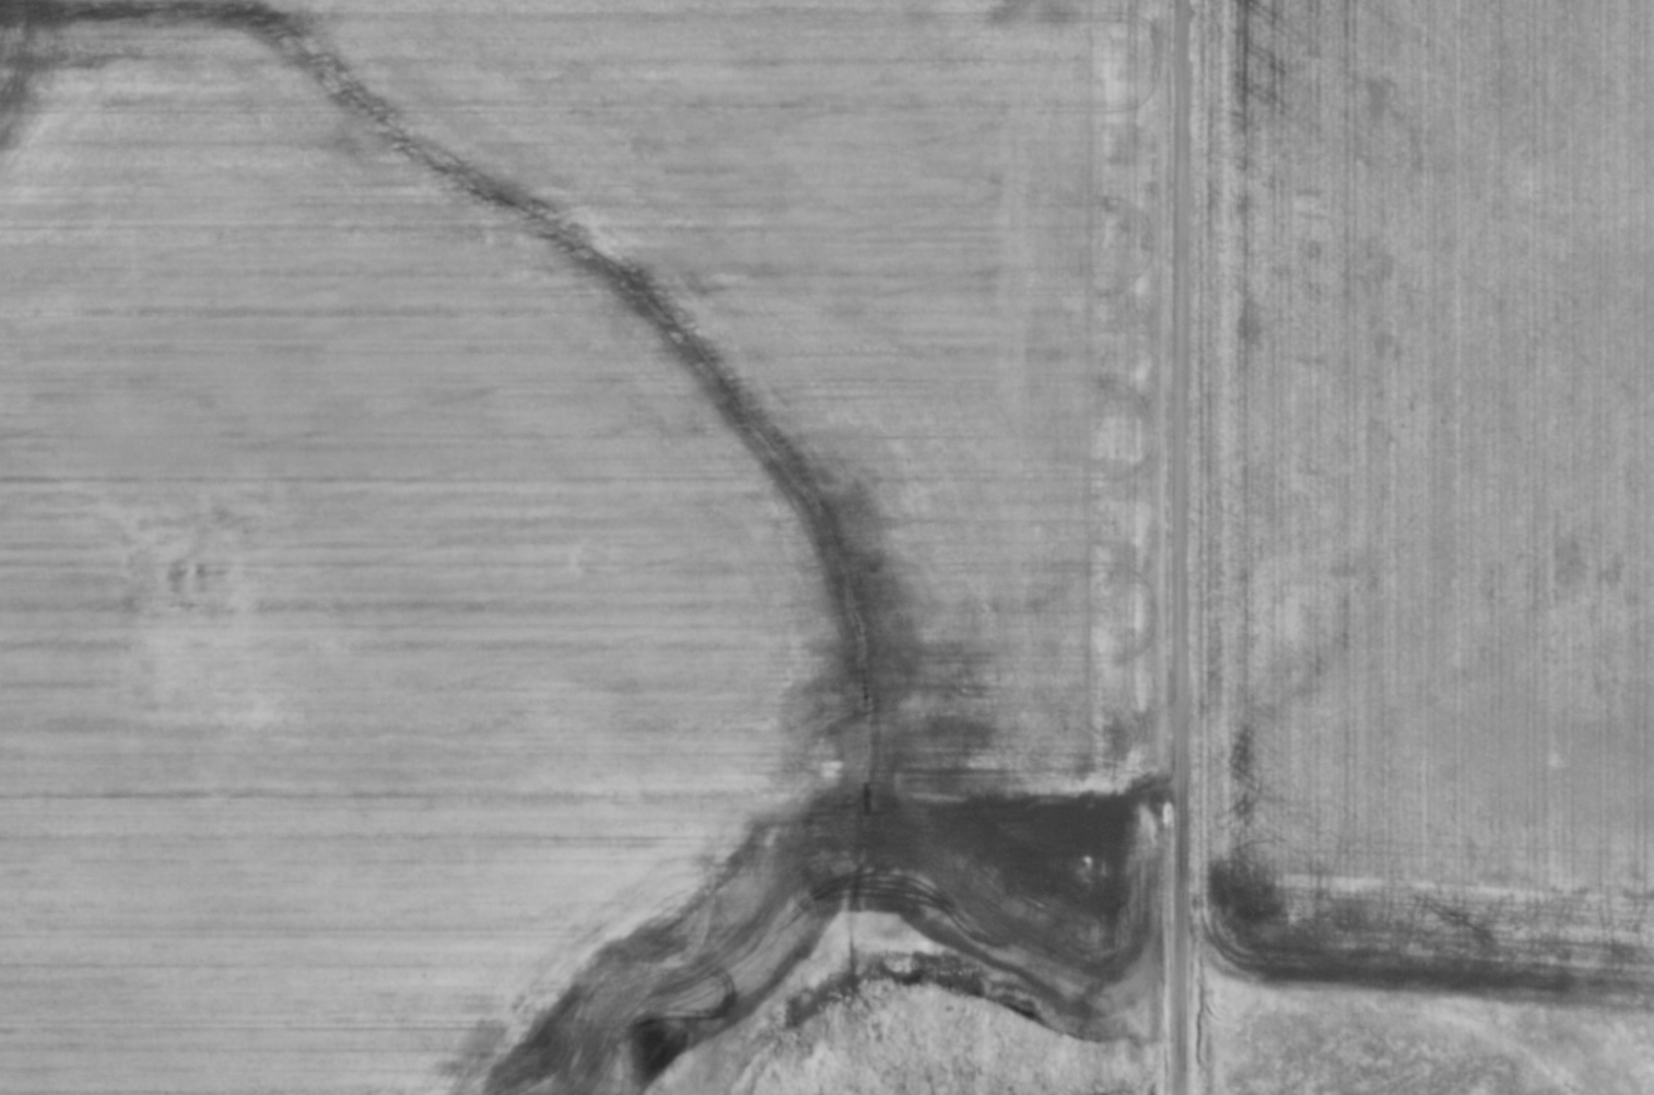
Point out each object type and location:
road: (1180, 546)

